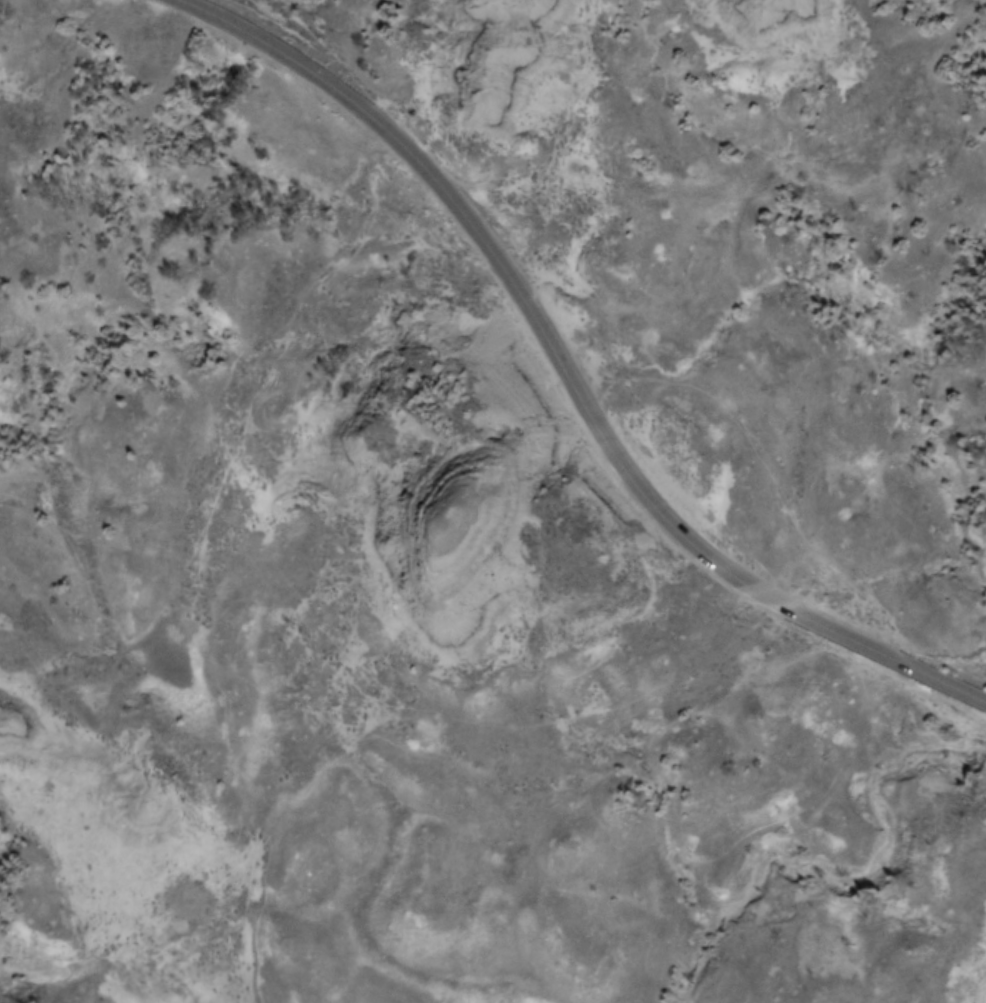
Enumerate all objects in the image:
road: (563, 370)

